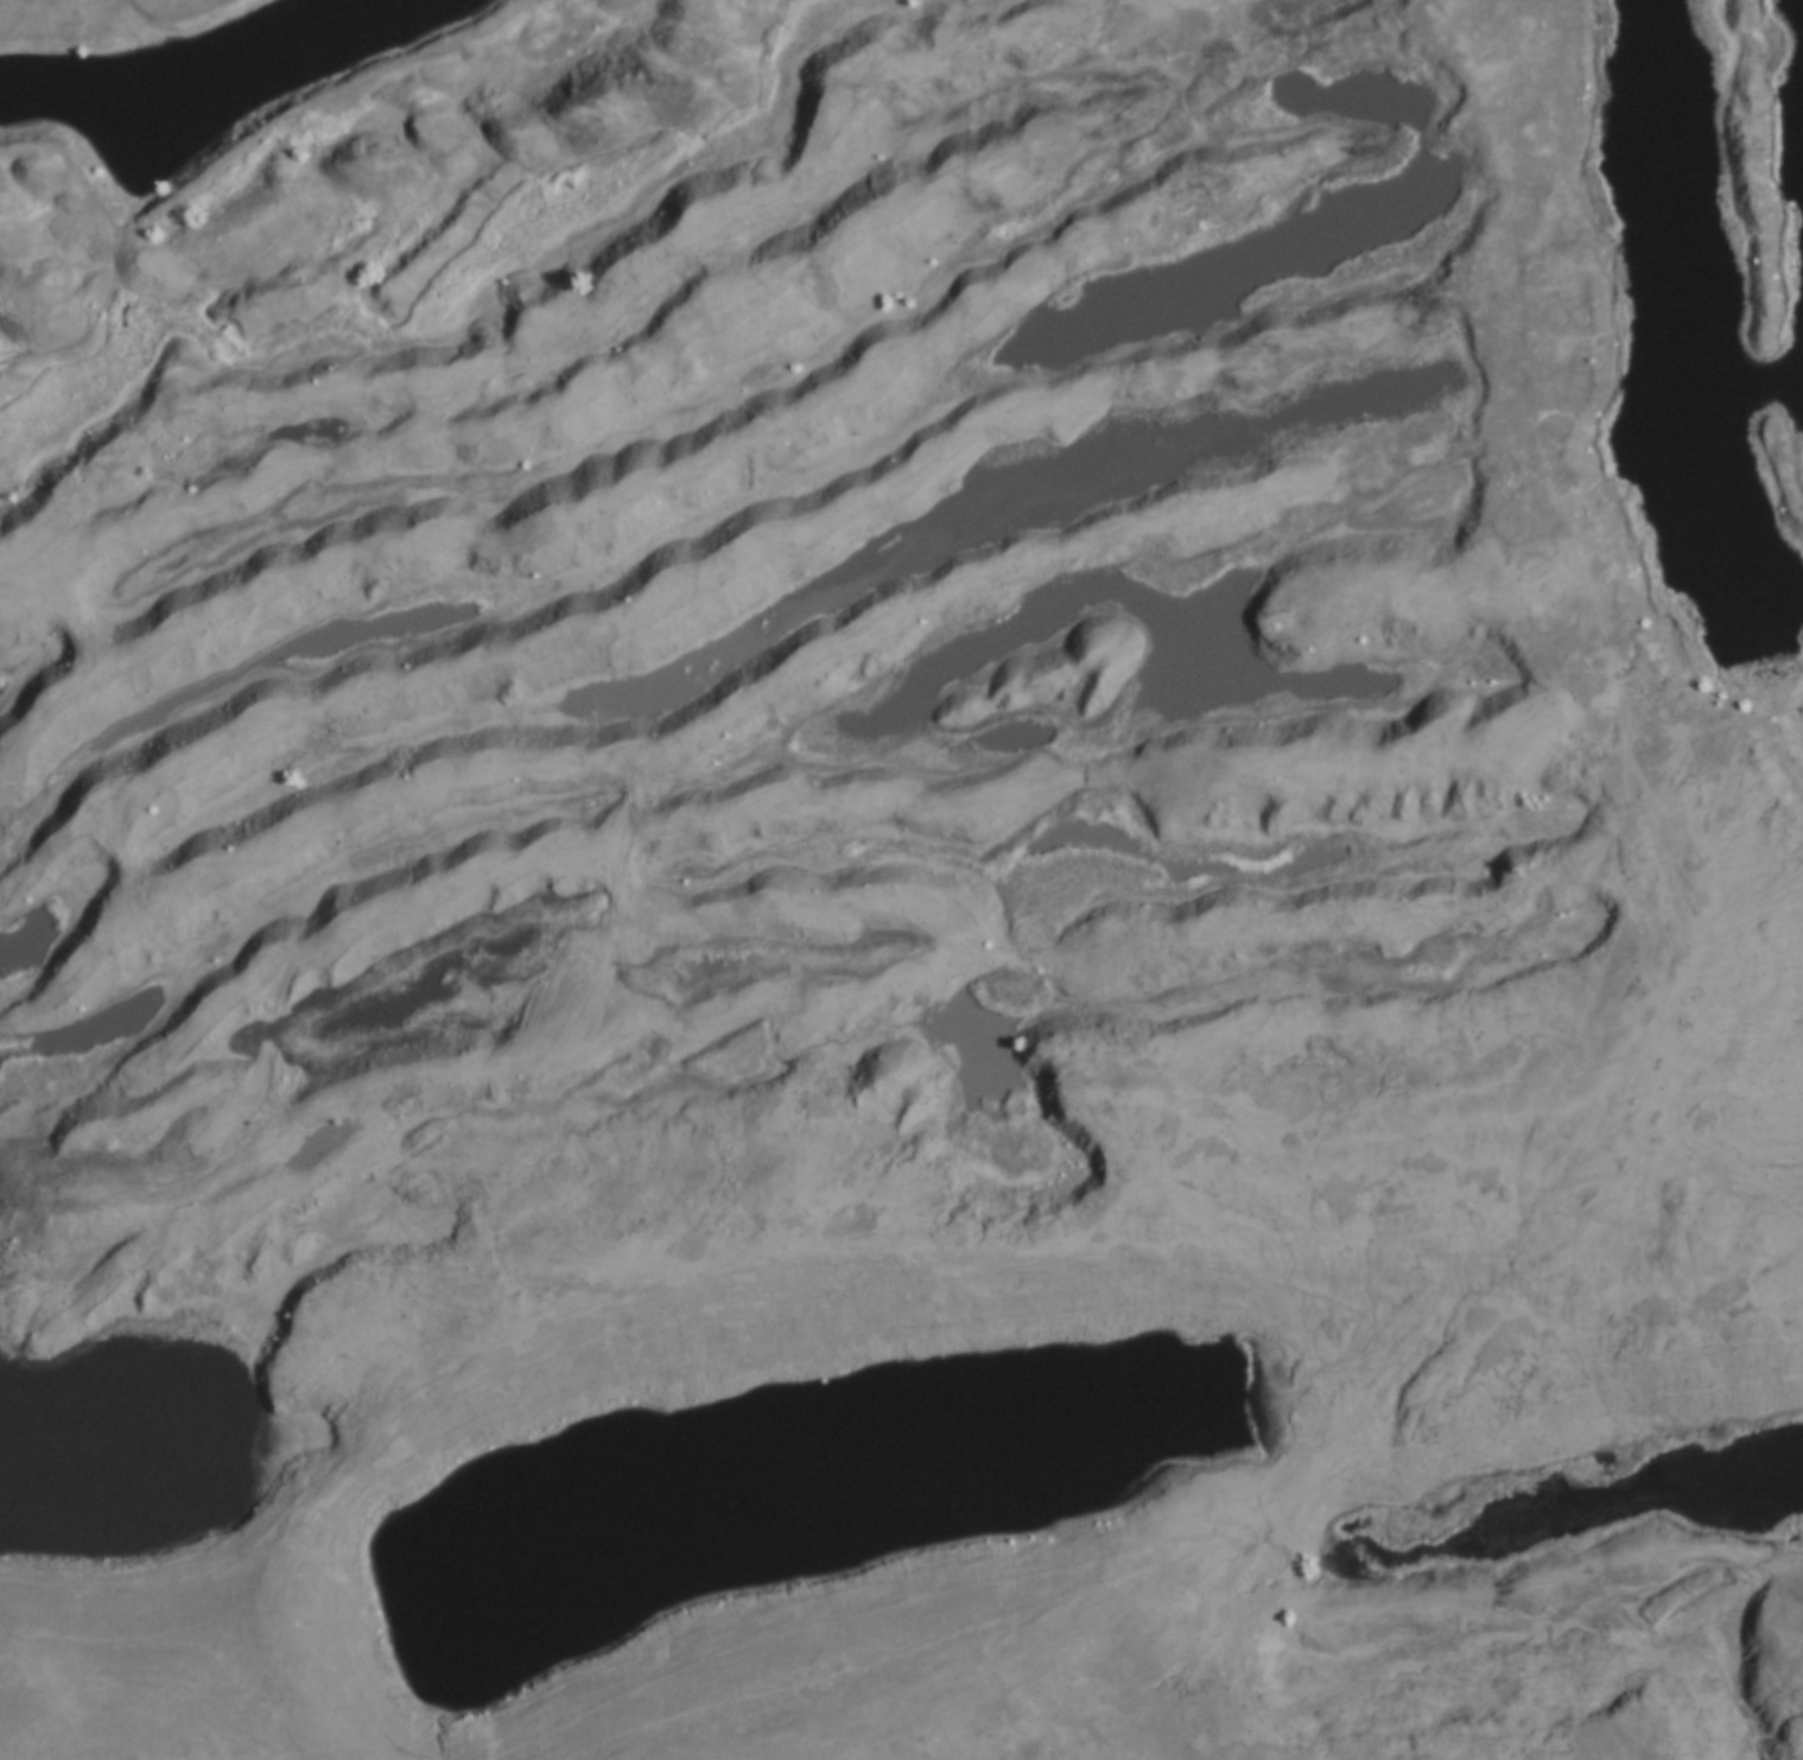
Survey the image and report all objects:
quarry: (923, 839)
road: (840, 1663)
road: (173, 1669)

